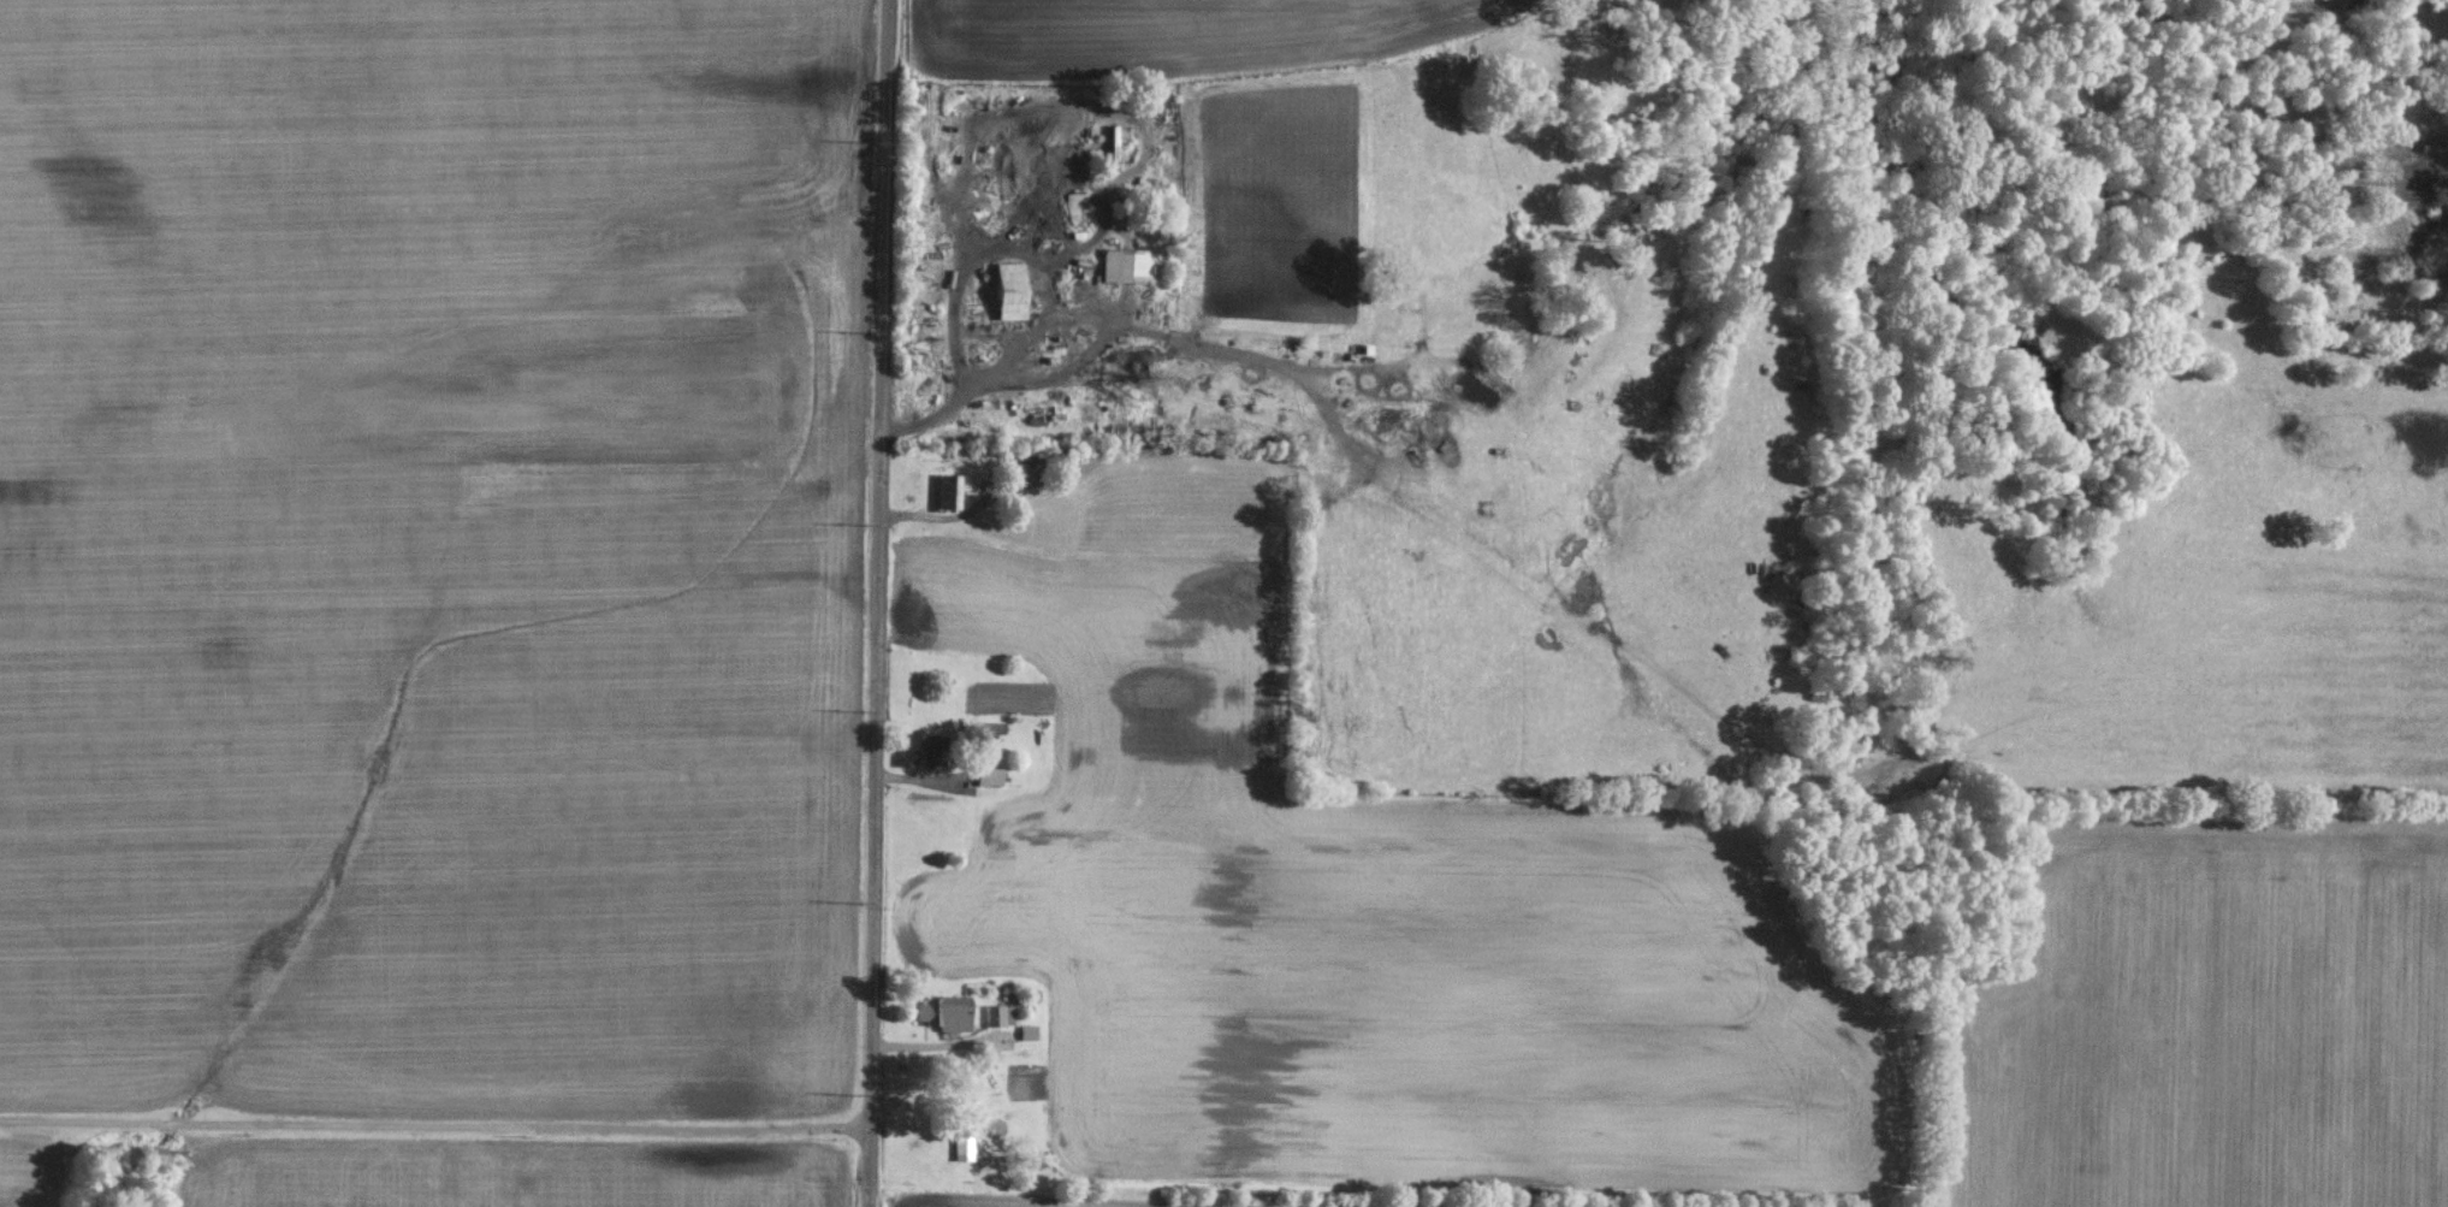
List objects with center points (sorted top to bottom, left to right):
building: (1124, 262)
building: (1006, 289)
road: (1077, 469)
road: (871, 603)
building: (909, 746)
road: (432, 1126)
building: (961, 1142)

